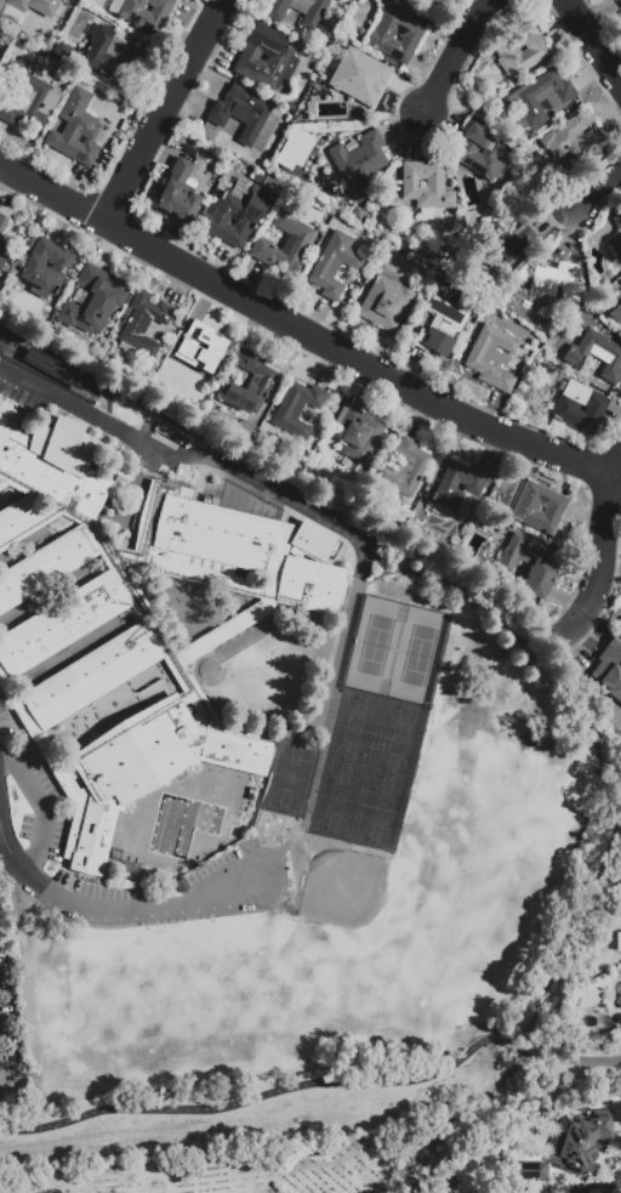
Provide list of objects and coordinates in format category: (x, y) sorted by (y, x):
building: (616, 1)
building: (24, 10)
building: (143, 12)
building: (310, 22)
building: (395, 32)
road: (594, 44)
building: (505, 49)
building: (61, 51)
road: (455, 53)
building: (110, 55)
building: (279, 56)
building: (355, 85)
building: (540, 96)
building: (30, 101)
building: (291, 108)
building: (240, 110)
road: (164, 112)
building: (75, 127)
building: (574, 137)
building: (294, 148)
building: (480, 152)
building: (358, 161)
building: (257, 177)
building: (425, 186)
building: (178, 191)
road: (603, 205)
building: (237, 212)
building: (358, 214)
building: (2, 222)
building: (616, 235)
building: (508, 240)
building: (284, 243)
building: (4, 252)
building: (334, 263)
building: (46, 266)
building: (549, 280)
building: (508, 299)
building: (92, 300)
building: (384, 303)
building: (616, 314)
building: (144, 322)
building: (440, 328)
road: (301, 333)
building: (203, 352)
building: (598, 354)
building: (491, 357)
building: (52, 368)
building: (250, 381)
building: (566, 405)
building: (297, 409)
building: (246, 430)
building: (358, 432)
road: (198, 456)
building: (405, 467)
building: (124, 483)
building: (226, 484)
building: (456, 489)
building: (539, 506)
building: (312, 541)
road: (602, 549)
building: (530, 563)
road: (546, 636)
building: (36, 641)
park: (395, 651)
building: (611, 670)
road: (592, 743)
road: (38, 809)
road: (1, 845)
road: (110, 913)
road: (32, 1001)
park: (175, 1004)
road: (523, 1047)
road: (585, 1058)
road: (2, 1067)
road: (251, 1096)
building: (587, 1151)
park: (243, 1166)
building: (529, 1169)
building: (446, 1182)
building: (576, 1189)

